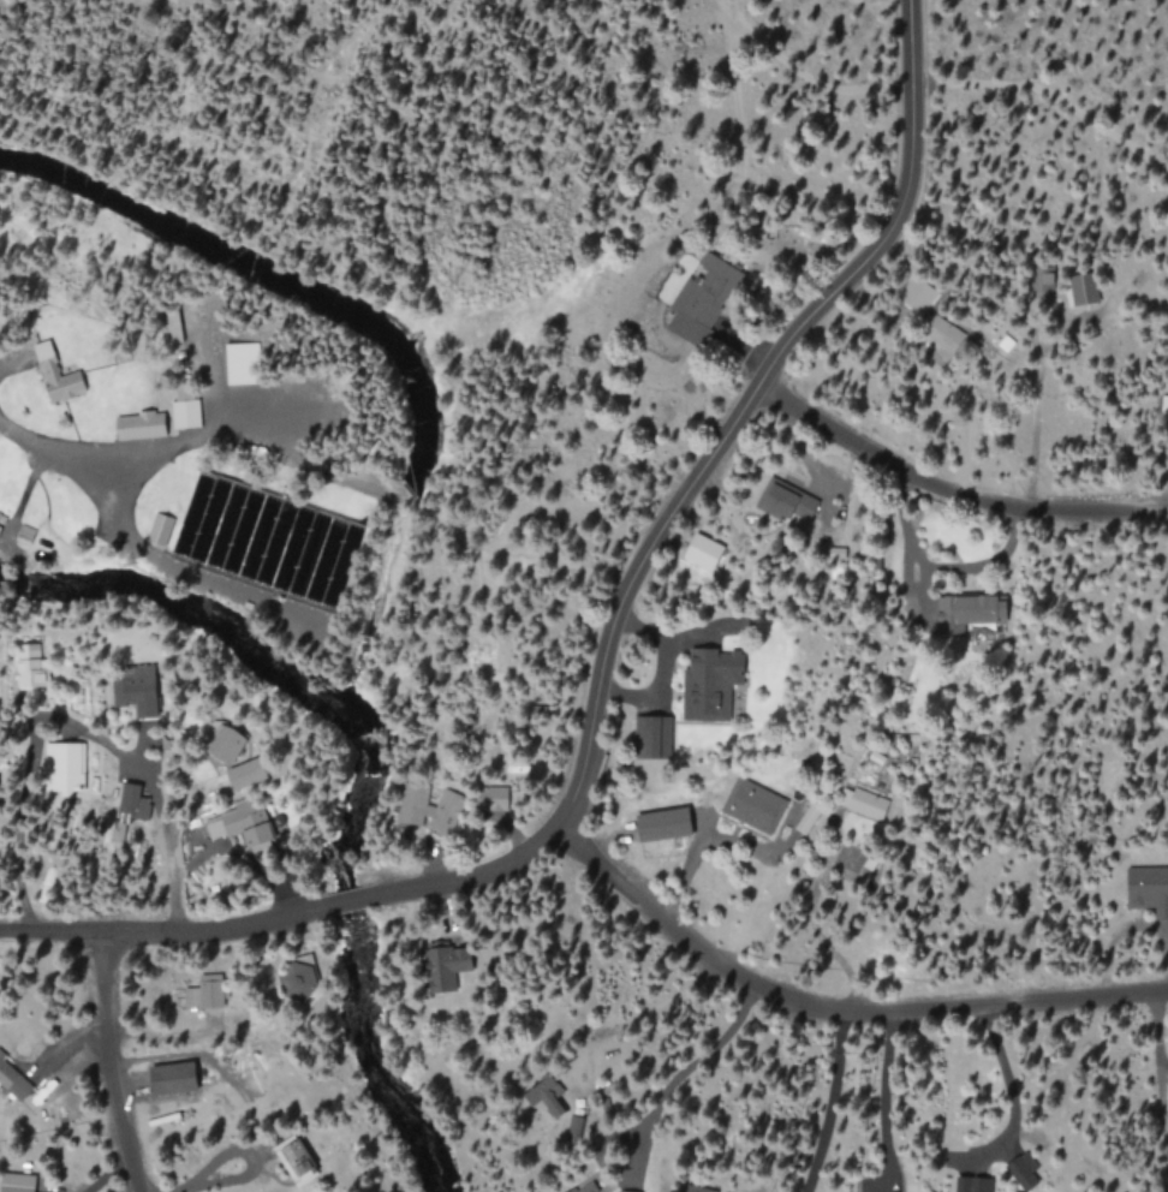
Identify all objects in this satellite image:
building: (1083, 290)
river: (376, 327)
building: (943, 333)
building: (243, 363)
building: (58, 375)
building: (1164, 406)
building: (185, 410)
building: (141, 425)
road: (951, 490)
road: (685, 493)
building: (788, 503)
building: (1, 515)
building: (160, 529)
building: (25, 534)
building: (704, 552)
road: (947, 568)
river: (379, 584)
building: (970, 612)
road: (662, 672)
building: (711, 683)
building: (142, 689)
building: (656, 738)
building: (226, 744)
building: (67, 768)
building: (246, 774)
building: (863, 803)
building: (753, 805)
building: (446, 811)
building: (665, 824)
building: (237, 829)
building: (1150, 889)
road: (350, 902)
road: (167, 934)
building: (448, 966)
building: (205, 994)
road: (832, 1012)
road: (111, 1065)
building: (12, 1079)
building: (556, 1108)
building: (296, 1158)
building: (1024, 1170)
building: (18, 1182)
building: (973, 1184)
building: (584, 1188)
building: (699, 1188)
building: (627, 1191)

